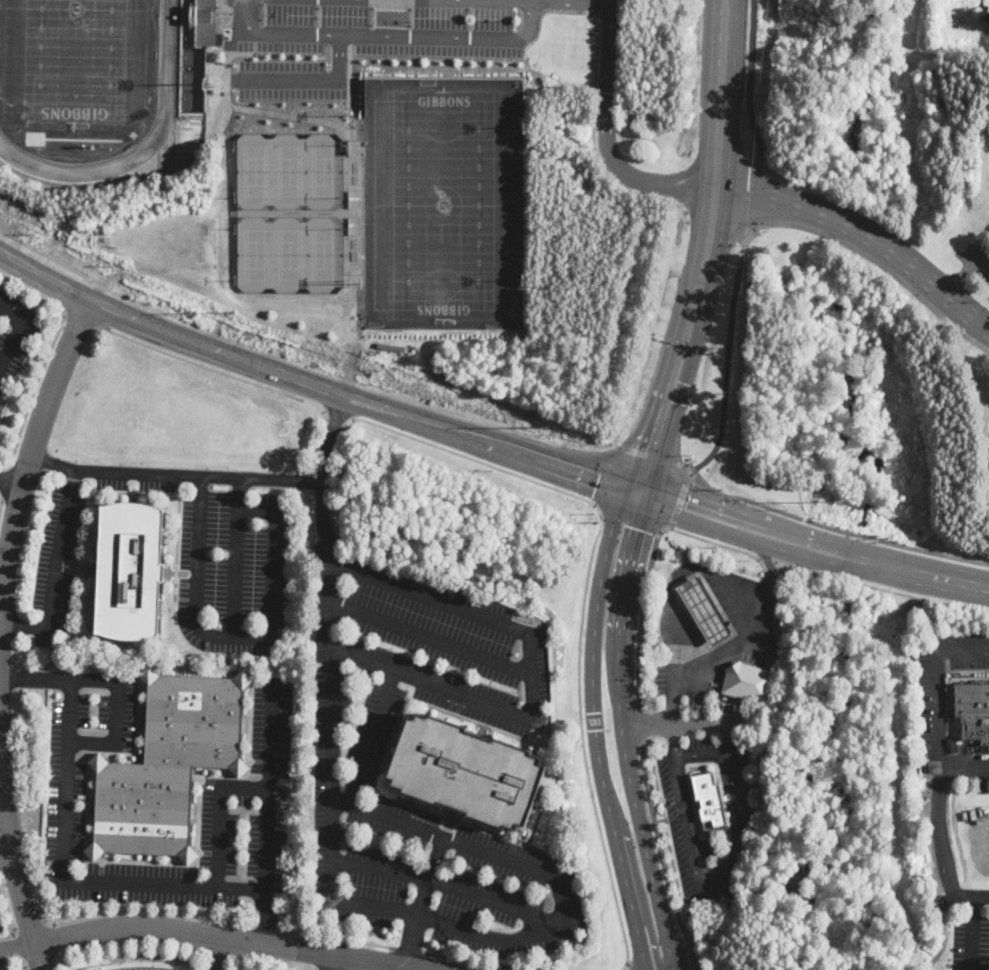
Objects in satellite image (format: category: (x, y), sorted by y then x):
road: (241, 1)
road: (572, 2)
road: (591, 6)
building: (206, 22)
road: (912, 36)
road: (418, 38)
track: (168, 50)
road: (722, 51)
park: (75, 60)
road: (311, 81)
road: (750, 83)
road: (608, 135)
road: (595, 148)
road: (961, 164)
park: (255, 170)
park: (290, 170)
park: (324, 170)
road: (753, 195)
park: (445, 203)
park: (444, 205)
road: (865, 234)
park: (290, 253)
park: (324, 253)
park: (256, 254)
parking lot: (976, 260)
road: (880, 263)
road: (966, 271)
road: (941, 276)
parking lot: (988, 299)
road: (695, 300)
power tower: (232, 310)
road: (81, 319)
road: (16, 332)
parking lot: (14, 336)
road: (48, 353)
road: (729, 354)
road: (213, 368)
road: (314, 382)
parking lot: (220, 405)
road: (336, 416)
power tower: (547, 426)
road: (614, 440)
road: (32, 448)
traffic signals: (651, 449)
road: (649, 455)
road: (686, 466)
road: (54, 472)
road: (175, 474)
road: (605, 475)
road: (74, 478)
parking lot: (139, 478)
road: (5, 480)
traffic signals: (598, 480)
road: (11, 484)
road: (1, 495)
road: (680, 499)
road: (1, 502)
power tower: (831, 502)
traffic signals: (685, 508)
road: (697, 511)
road: (629, 518)
road: (835, 527)
traffic signals: (639, 529)
road: (596, 537)
road: (787, 540)
road: (727, 545)
road: (78, 552)
road: (57, 554)
road: (769, 558)
parking lot: (56, 562)
road: (784, 564)
road: (796, 567)
road: (904, 569)
building: (130, 570)
parking lot: (233, 570)
road: (235, 571)
road: (895, 590)
road: (696, 607)
road: (642, 609)
building: (704, 611)
gas station: (704, 611)
road: (926, 620)
road: (17, 627)
road: (431, 637)
road: (258, 638)
parking lot: (432, 639)
parking lot: (964, 650)
road: (715, 654)
road: (532, 675)
road: (59, 678)
building: (749, 683)
road: (331, 685)
parking lot: (927, 704)
road: (936, 704)
road: (69, 710)
building: (972, 712)
road: (678, 721)
road: (638, 722)
road: (594, 728)
road: (622, 733)
road: (702, 752)
building: (168, 765)
building: (467, 771)
parking lot: (971, 776)
parking lot: (238, 789)
building: (292, 795)
road: (342, 797)
building: (709, 802)
road: (217, 811)
road: (938, 827)
parking lot: (423, 847)
road: (482, 850)
road: (662, 855)
road: (7, 858)
road: (725, 858)
road: (14, 861)
road: (431, 875)
road: (142, 883)
road: (447, 883)
road: (713, 883)
road: (639, 888)
road: (969, 896)
road: (7, 904)
road: (145, 909)
road: (266, 915)
road: (29, 925)
road: (264, 925)
parking lot: (0, 928)
road: (967, 933)
road: (234, 936)
road: (335, 937)
road: (414, 939)
road: (18, 943)
parking lot: (970, 943)
road: (17, 945)
road: (1, 947)
road: (408, 949)
road: (219, 952)
road: (9, 955)
parking lot: (1, 958)
road: (479, 960)
road: (328, 961)
road: (306, 966)
road: (695, 967)
parking lot: (141, 968)
road: (322, 969)

